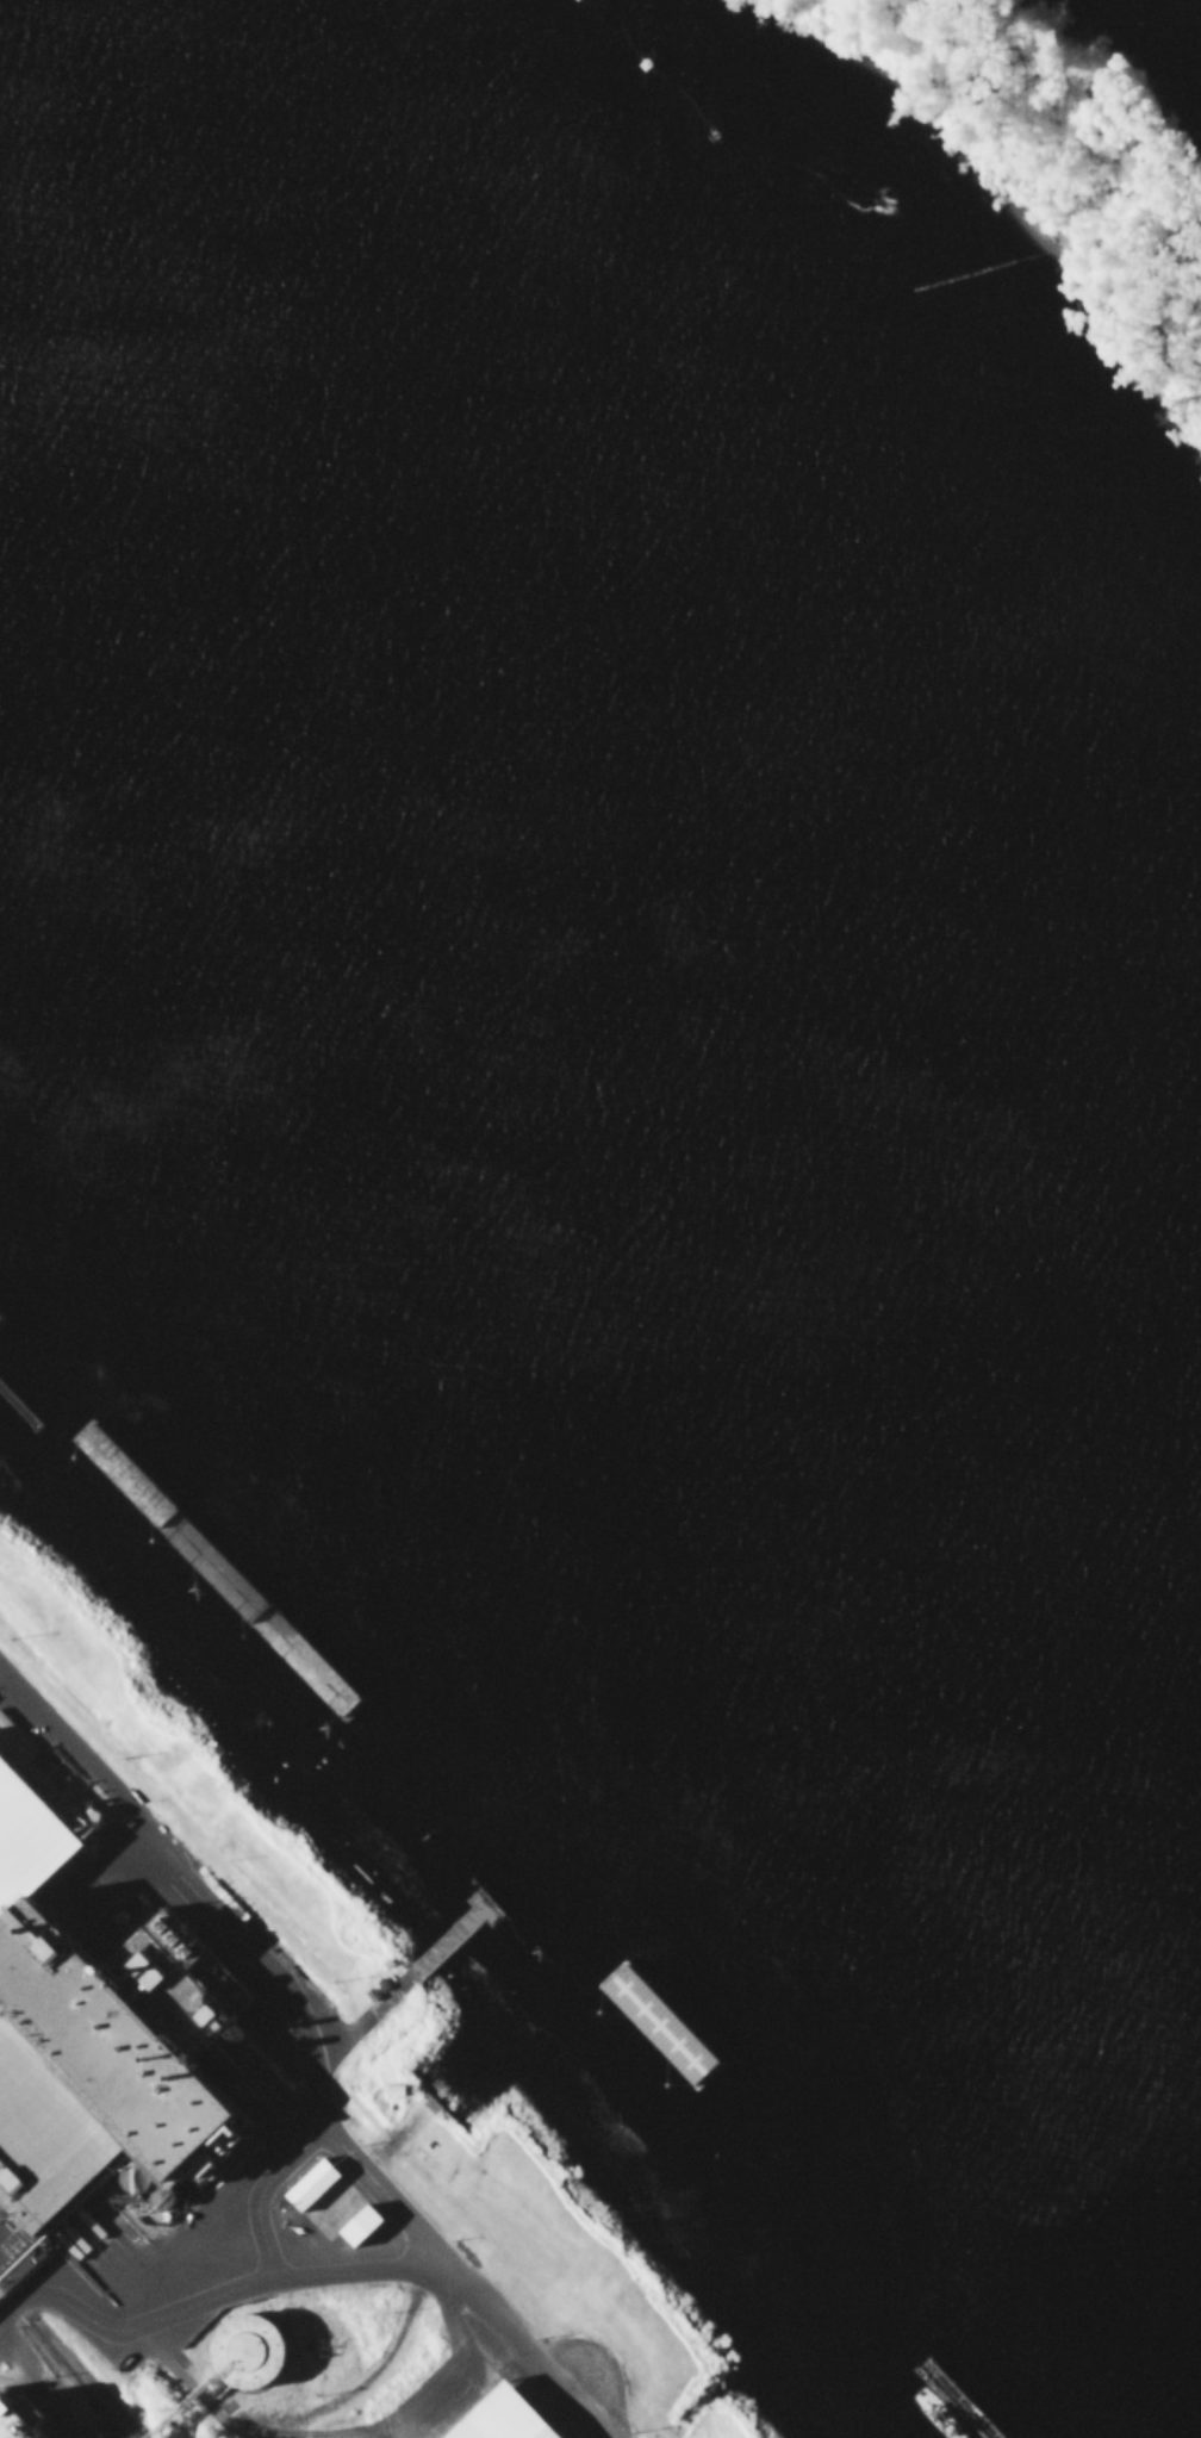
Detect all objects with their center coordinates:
river: (600, 1047)
building: (18, 1791)
building: (82, 2103)
building: (315, 2185)
building: (363, 2227)
road: (1, 2307)
building: (257, 2352)
railway: (55, 2369)
building: (512, 2418)

